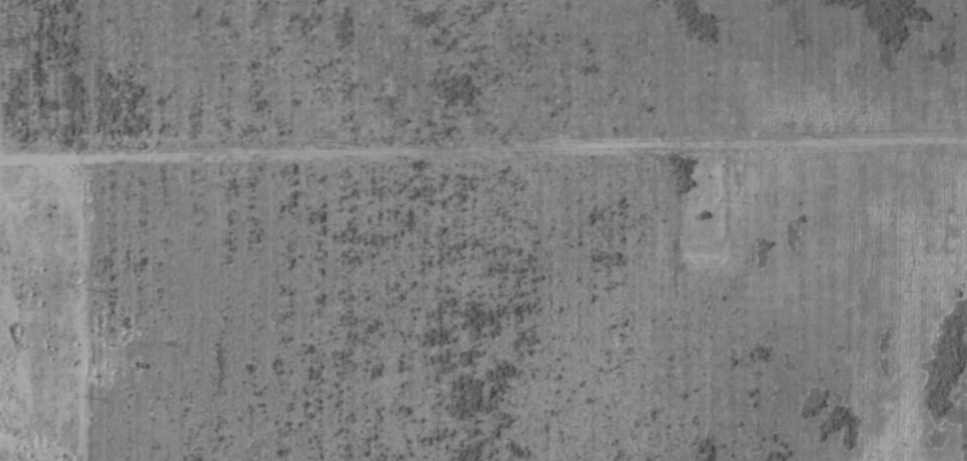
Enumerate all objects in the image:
road: (13, 117)
road: (65, 228)

